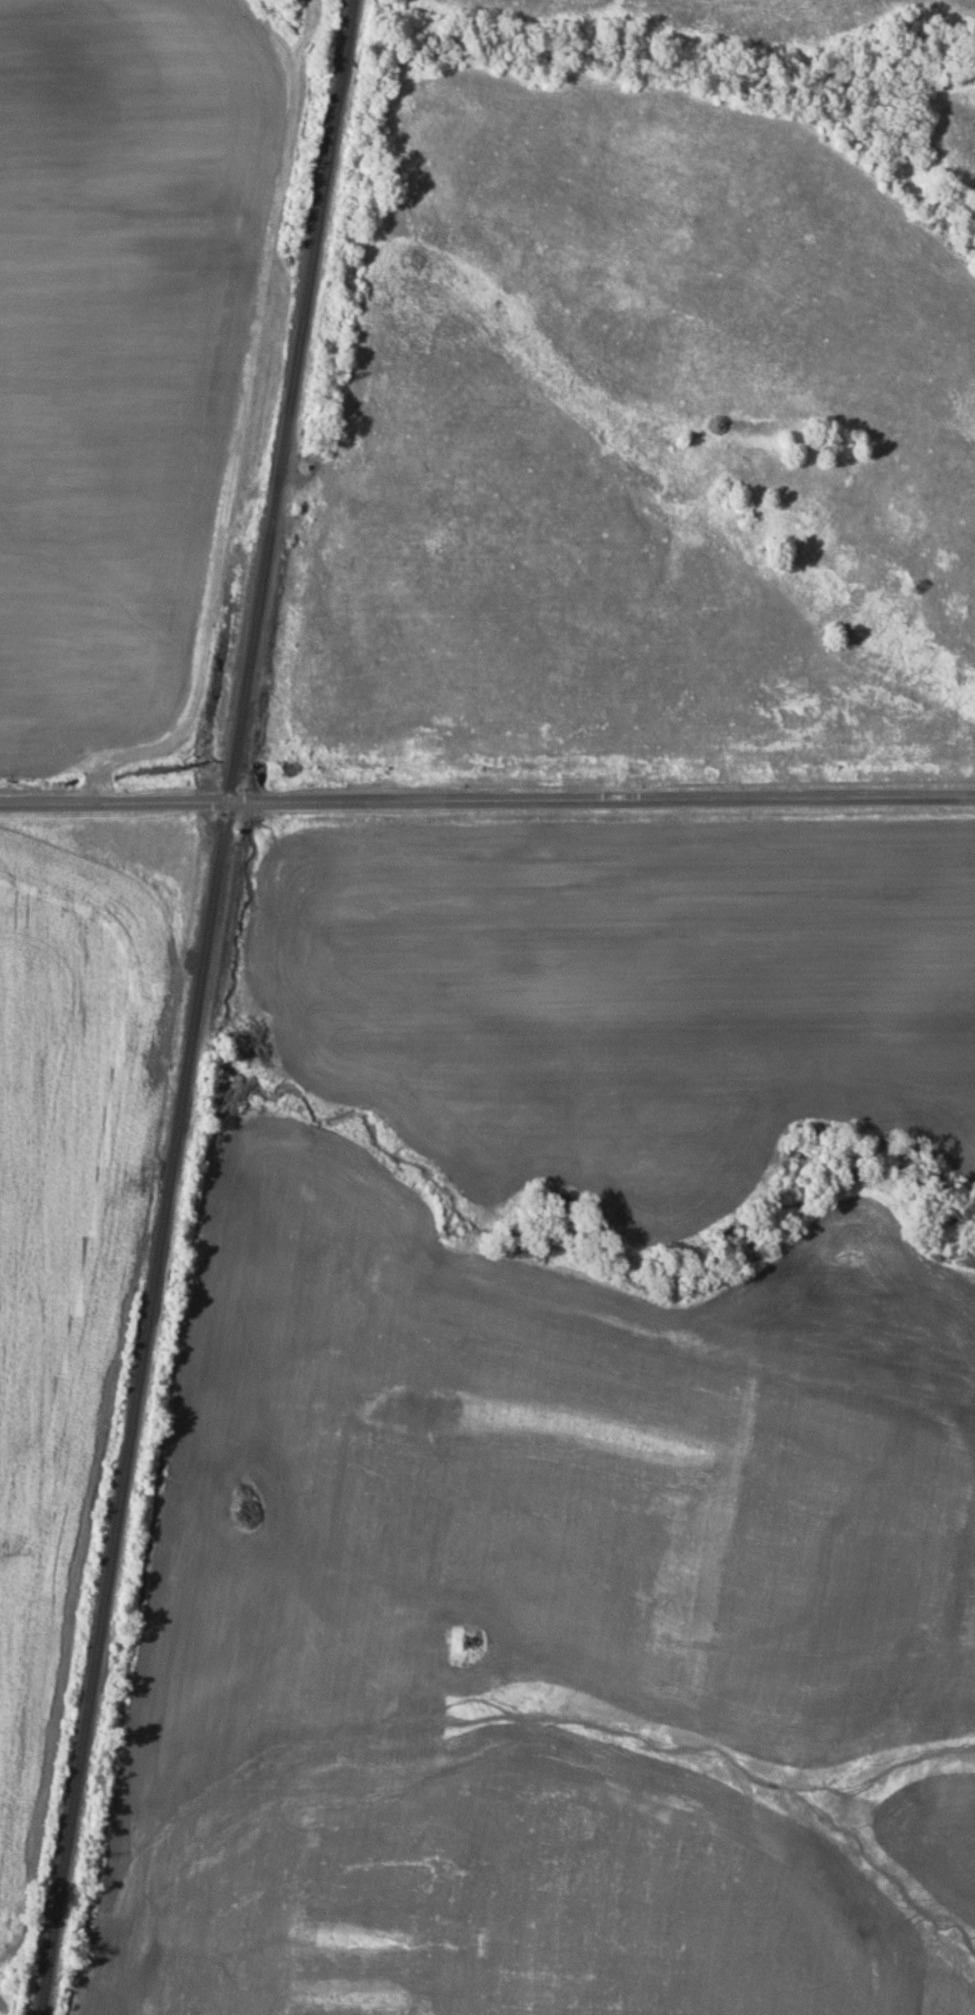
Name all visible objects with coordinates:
road: (770, 650)
road: (487, 803)
railway: (194, 1005)

